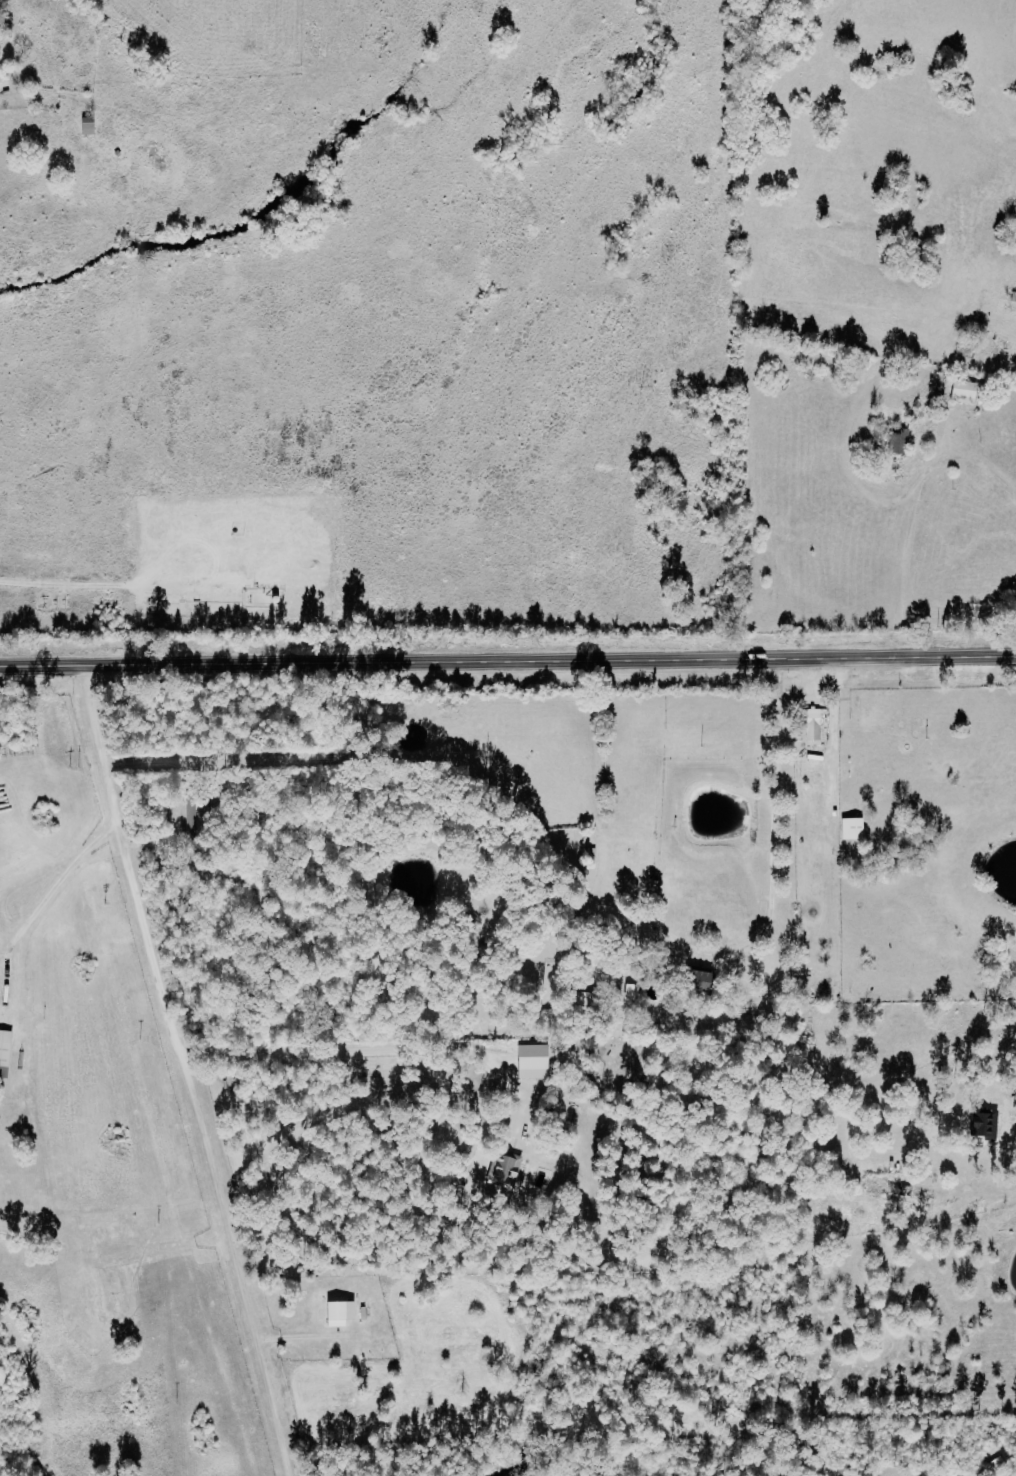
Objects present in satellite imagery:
building: (90, 125)
building: (966, 392)
building: (900, 442)
road: (508, 662)
building: (814, 725)
building: (854, 829)
road: (52, 886)
building: (703, 979)
building: (633, 993)
building: (5, 1052)
building: (535, 1061)
road: (185, 1070)
building: (986, 1125)
road: (1010, 1167)
building: (505, 1170)
building: (342, 1313)

